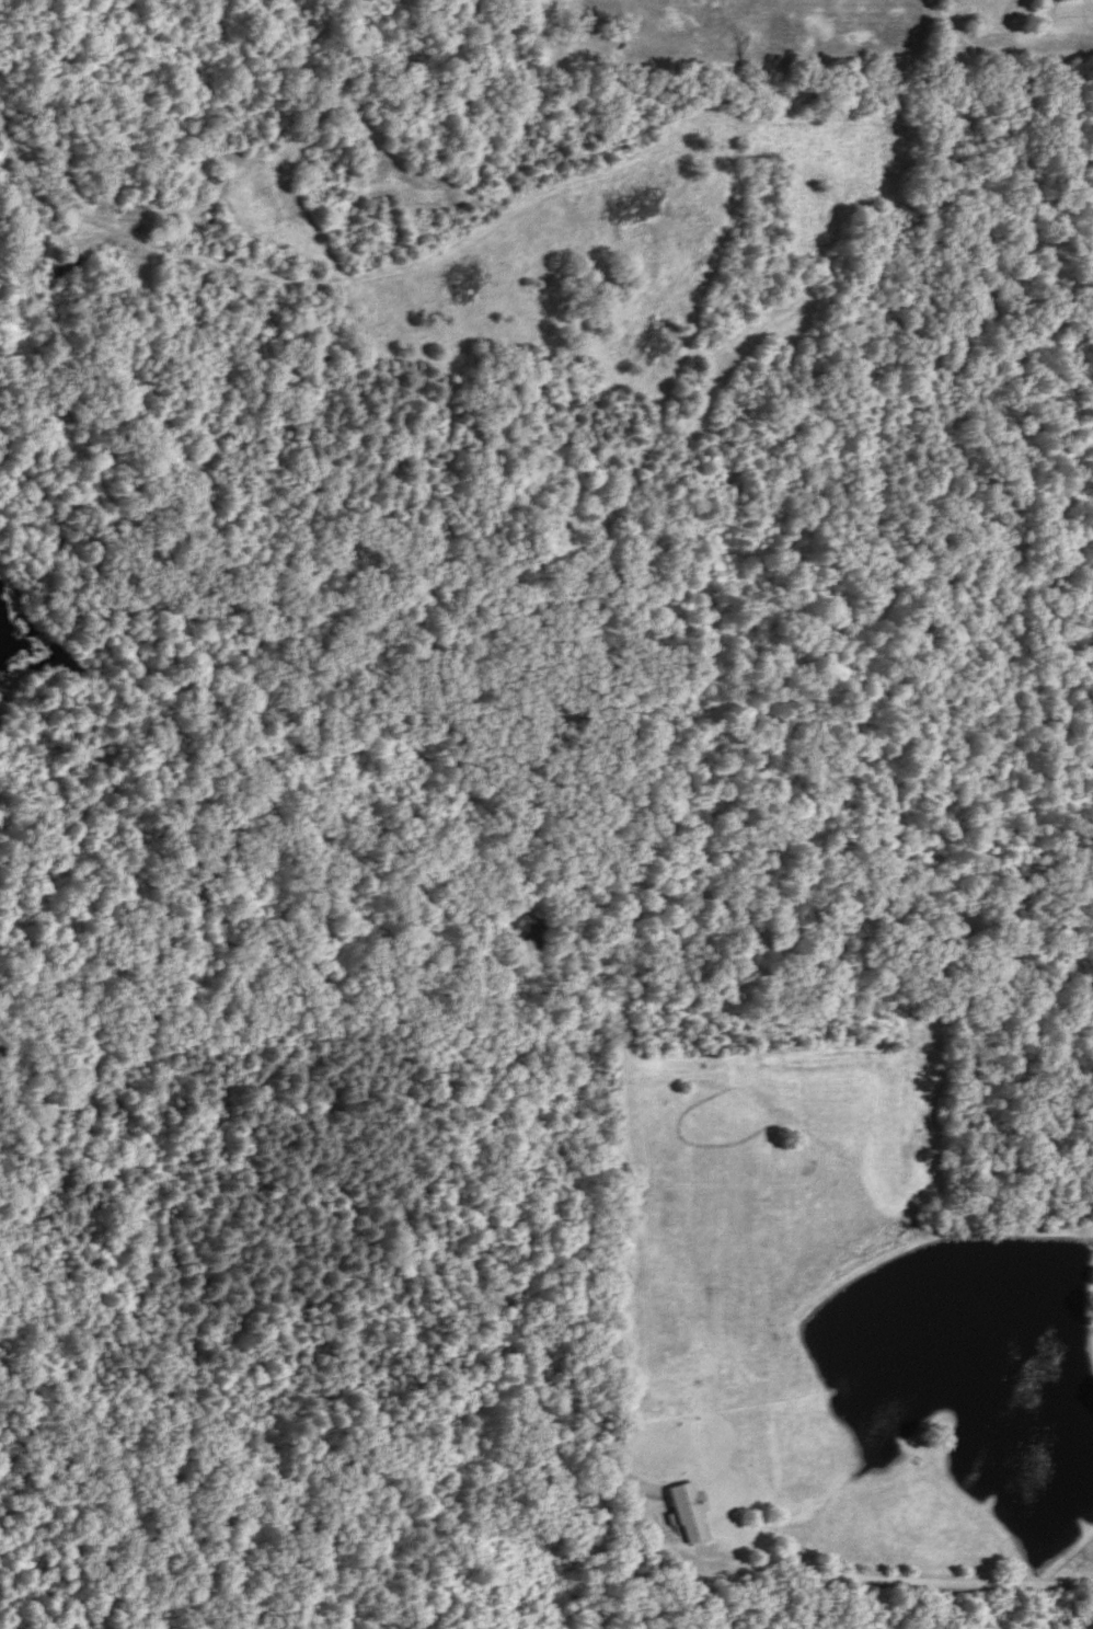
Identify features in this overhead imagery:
building: (687, 1512)
road: (900, 1580)

